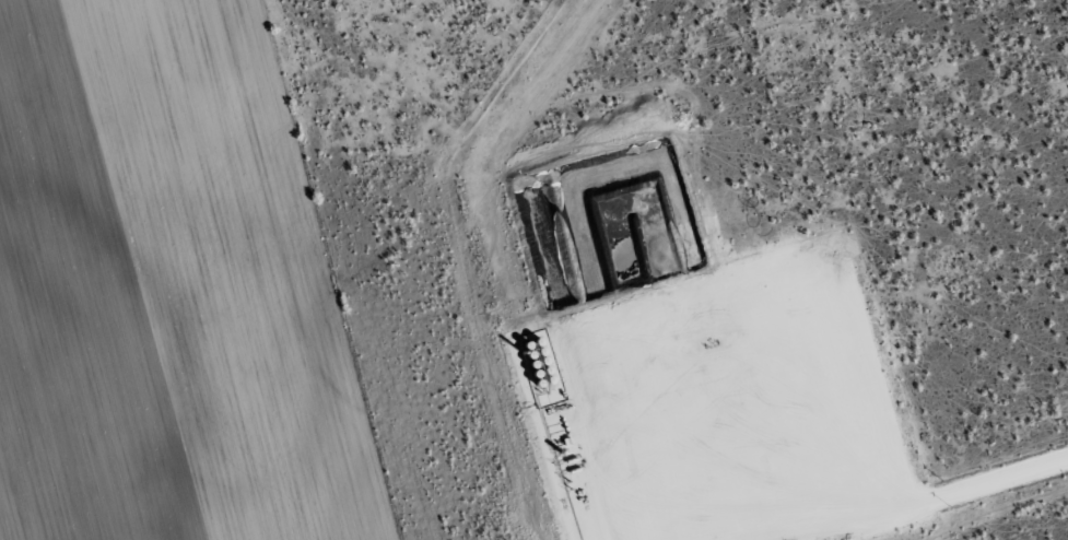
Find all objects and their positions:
road: (976, 485)

